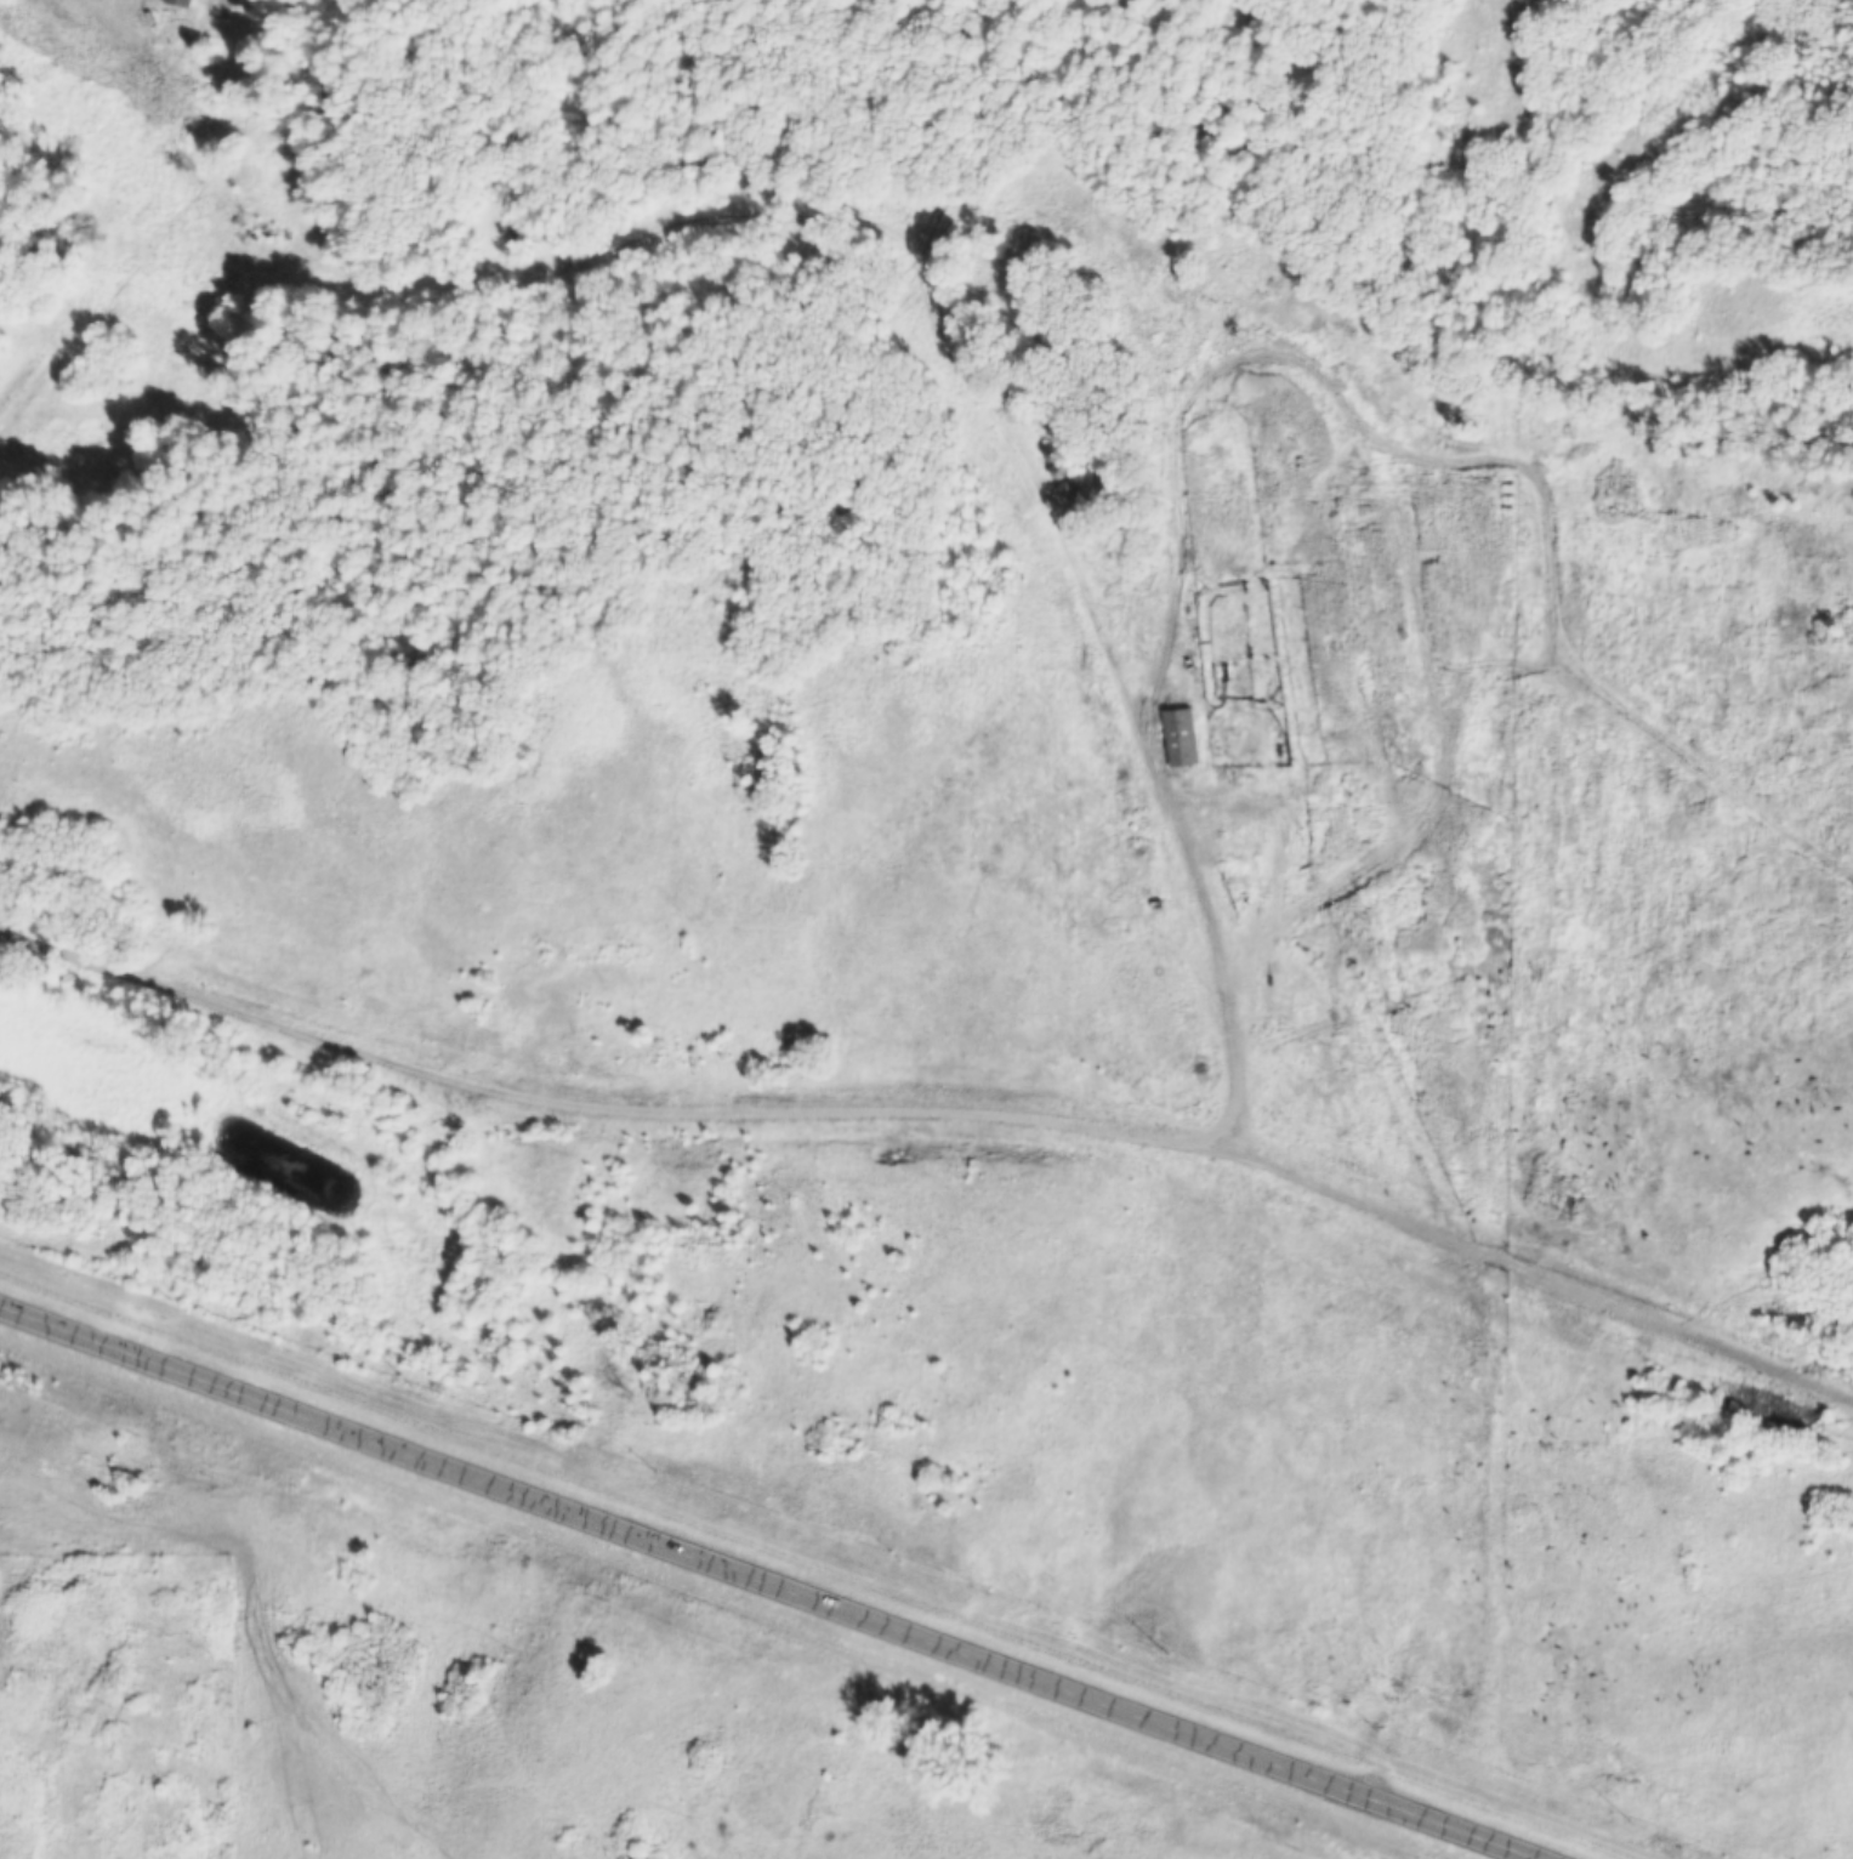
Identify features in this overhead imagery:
building: (195, 1)
building: (695, 160)
building: (744, 163)
building: (1057, 453)
building: (1064, 470)
building: (1072, 489)
building: (1183, 737)
road: (786, 1107)
road: (774, 1585)

